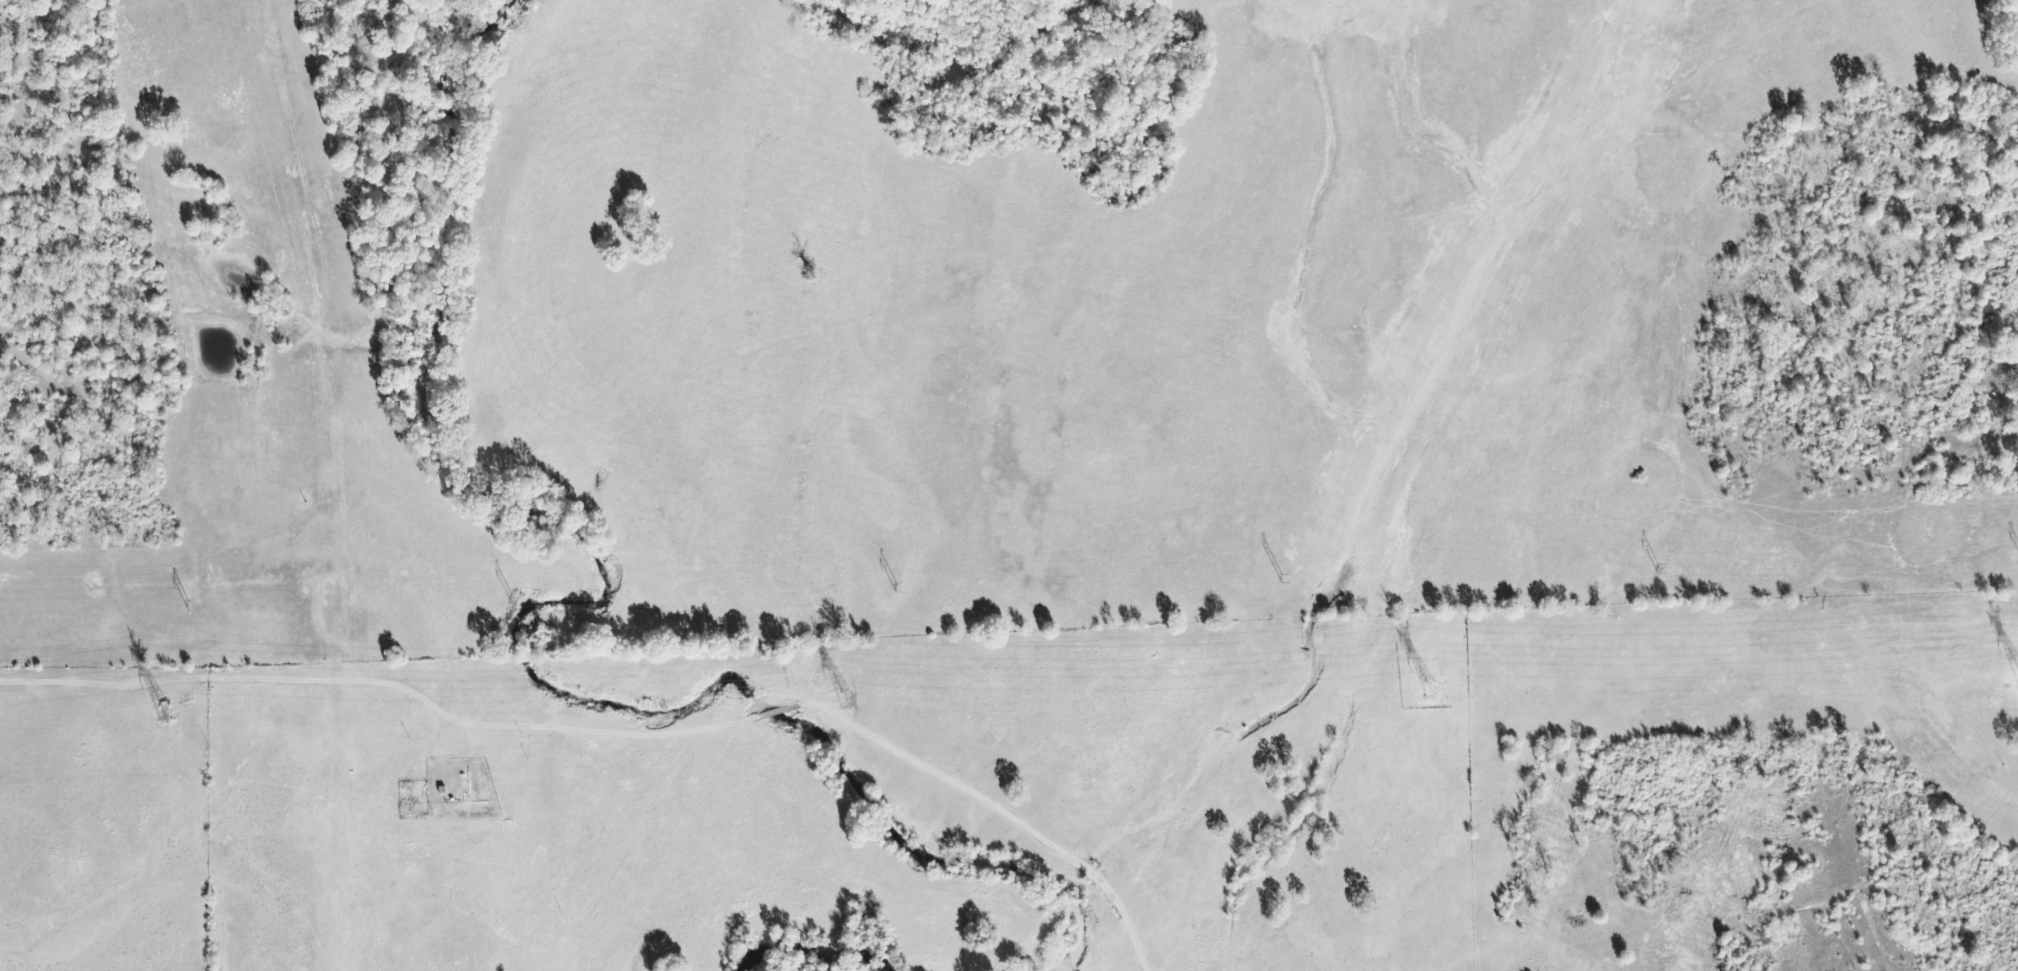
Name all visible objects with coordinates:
power tower: (1654, 570)
power tower: (1273, 580)
power tower: (891, 590)
power tower: (498, 598)
power tower: (186, 608)
power tower: (1426, 691)
power tower: (838, 699)
power tower: (158, 714)

